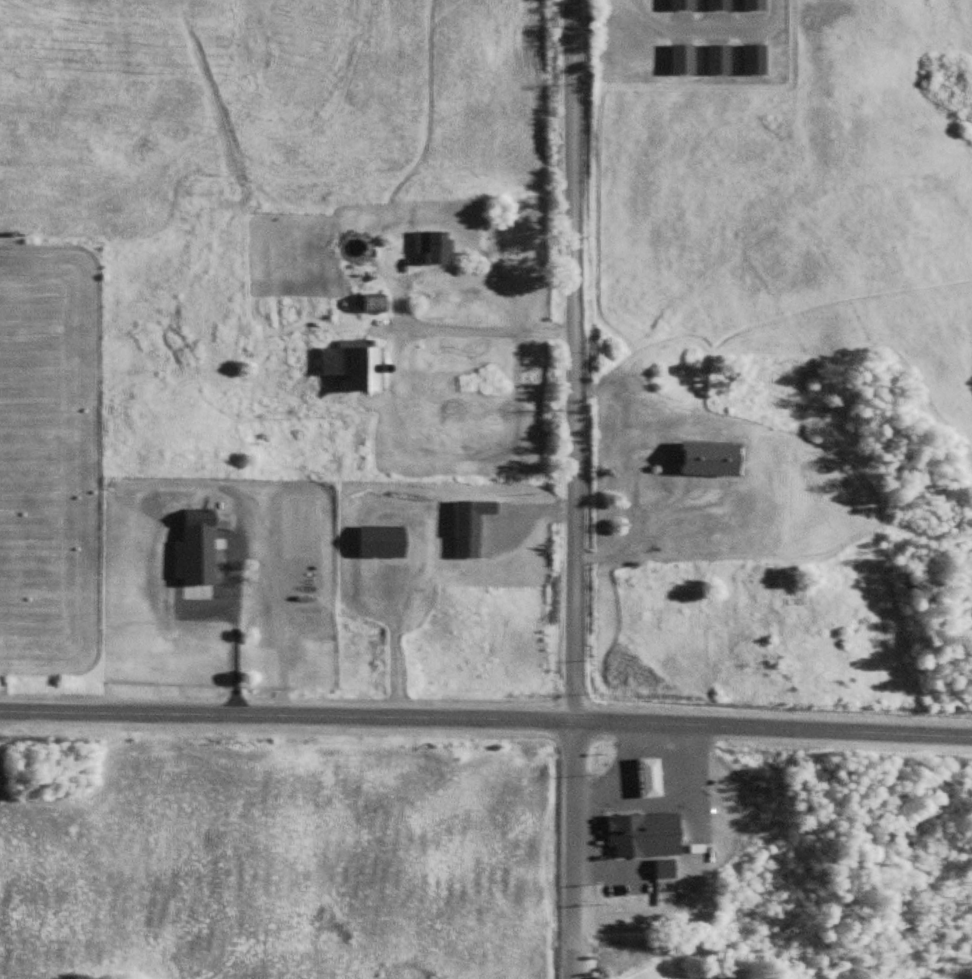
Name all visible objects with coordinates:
building: (686, 5)
building: (721, 5)
building: (757, 5)
building: (685, 60)
building: (721, 61)
building: (757, 61)
building: (436, 247)
building: (378, 303)
road: (469, 324)
building: (357, 366)
building: (712, 459)
road: (575, 489)
building: (201, 519)
building: (470, 530)
road: (234, 619)
road: (486, 718)
building: (638, 834)

